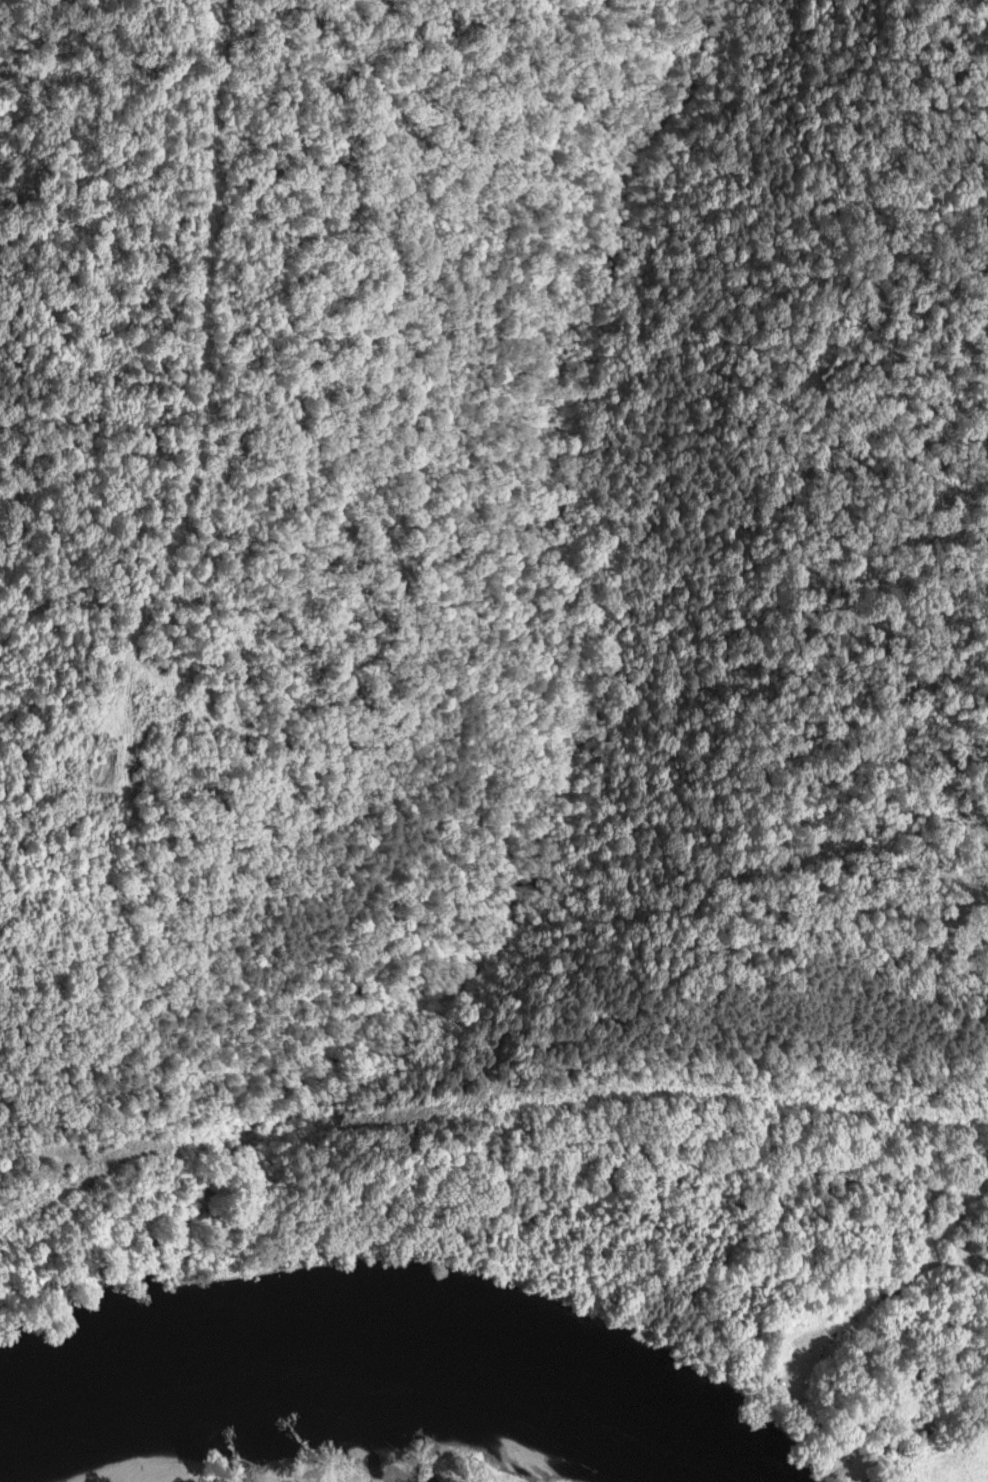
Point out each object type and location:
river: (360, 1356)
road: (784, 1381)
road: (501, 1466)

